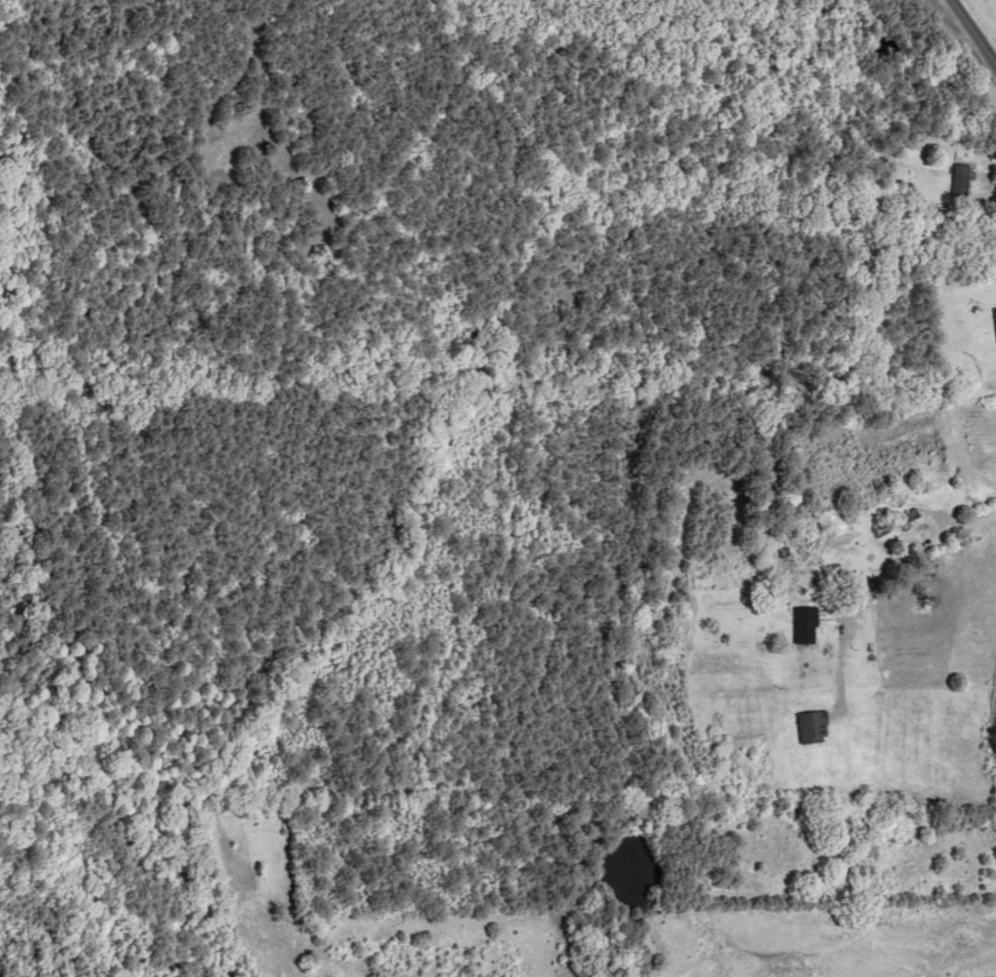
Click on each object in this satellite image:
road: (974, 30)
building: (961, 180)
building: (896, 522)
road: (913, 579)
building: (806, 625)
building: (815, 727)

